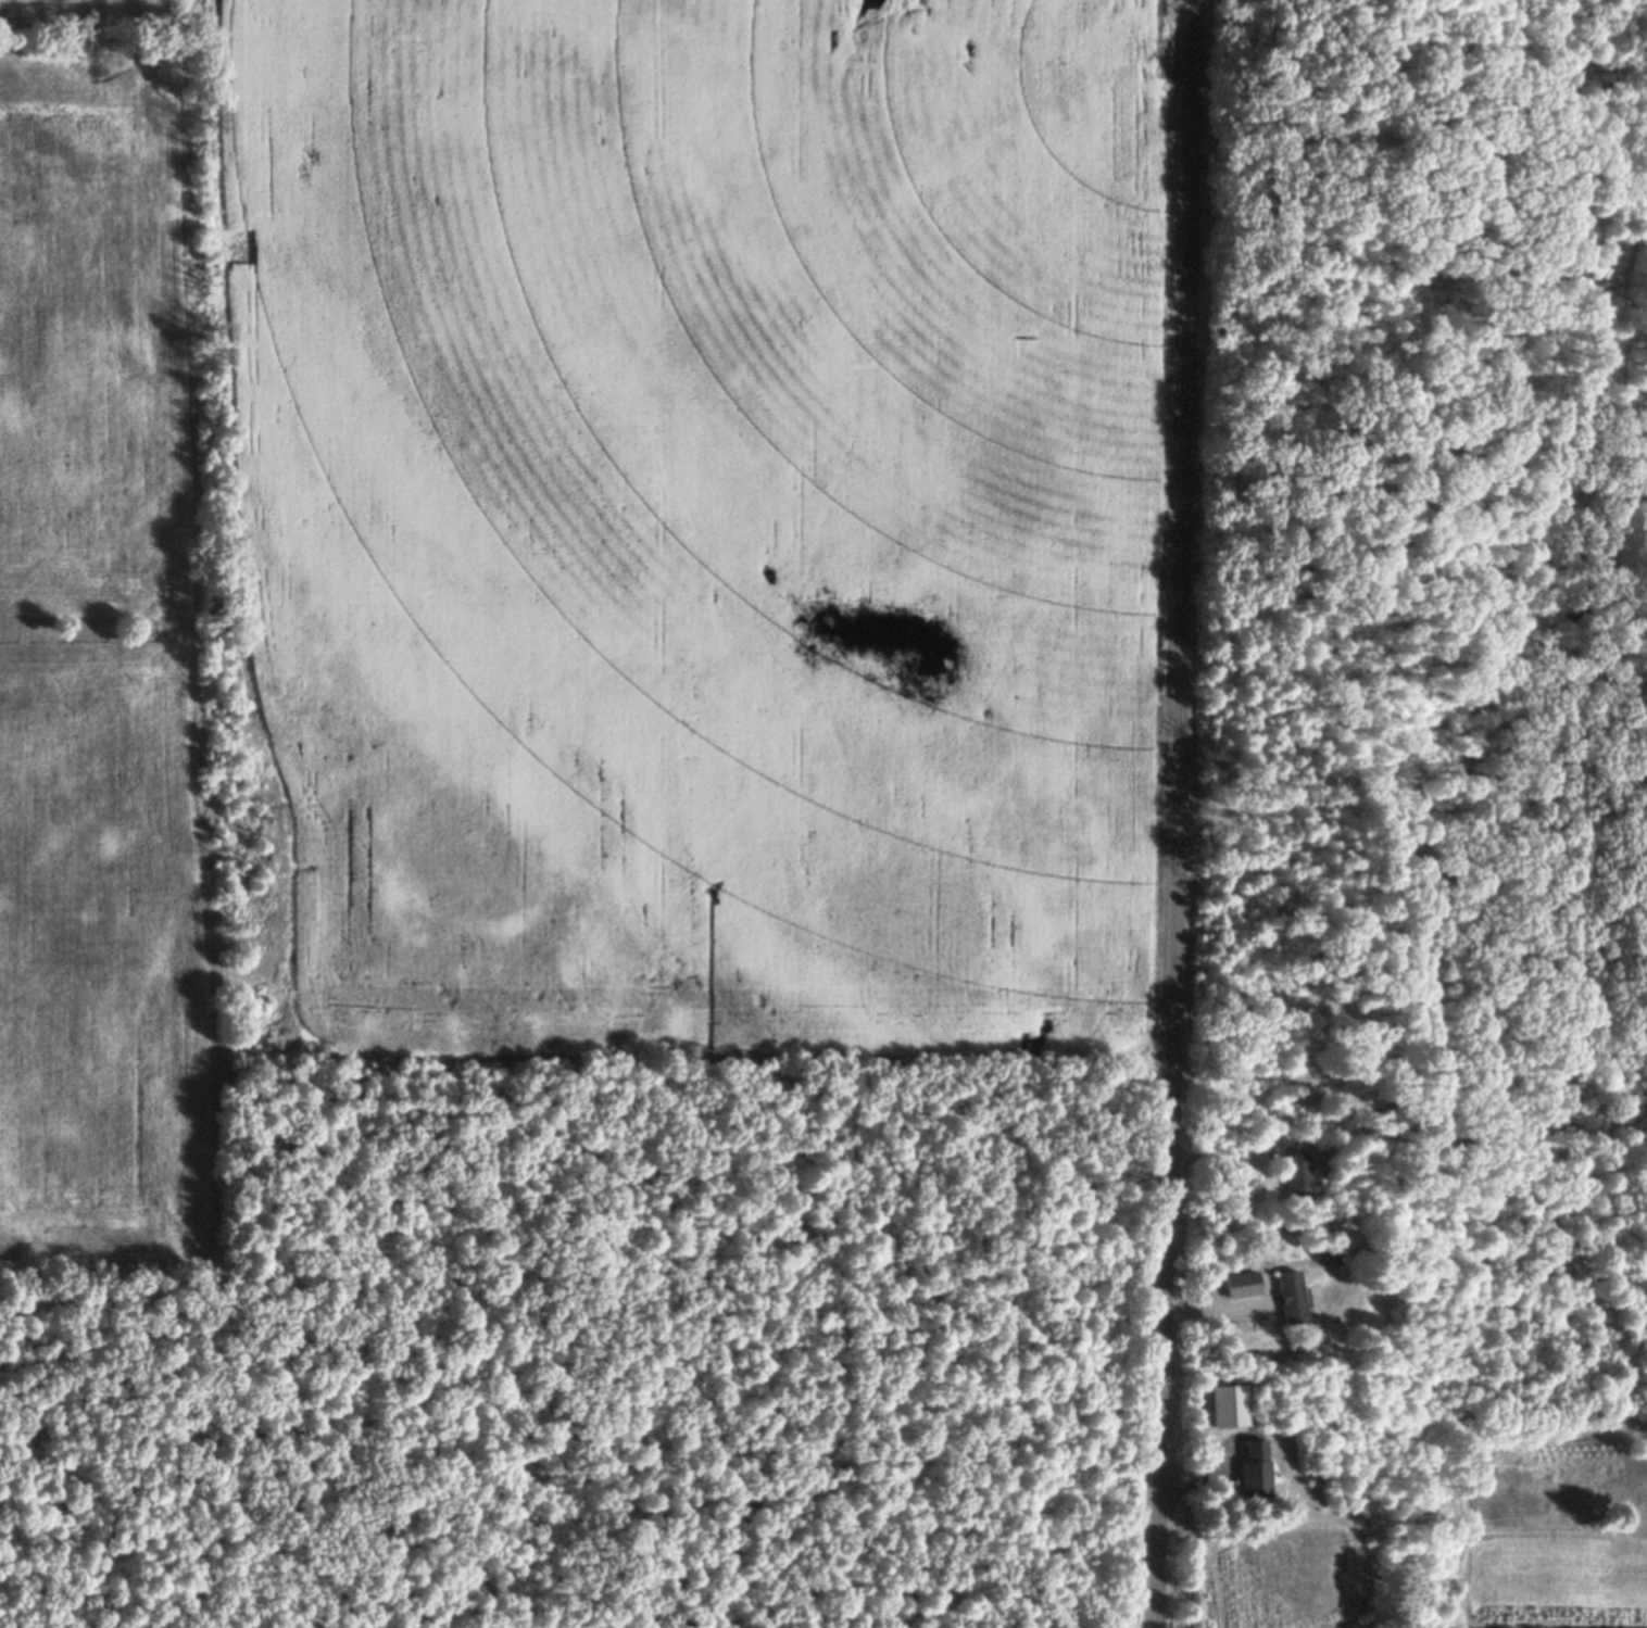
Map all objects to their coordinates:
road: (1178, 813)
building: (1298, 1182)
building: (1243, 1293)
building: (1292, 1307)
building: (1254, 1479)

